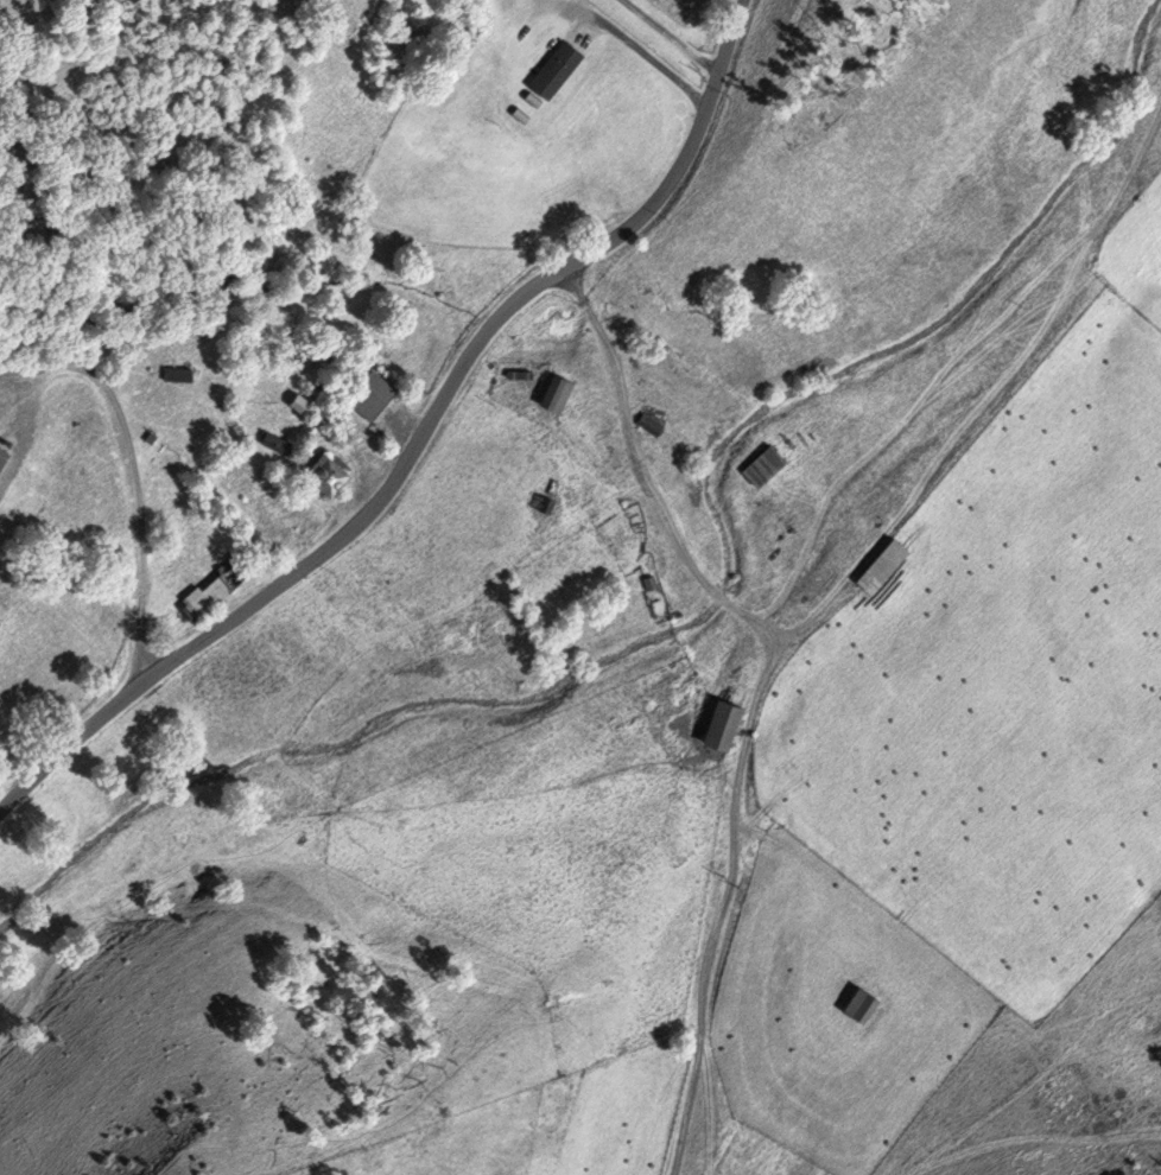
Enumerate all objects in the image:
road: (670, 36)
road: (635, 50)
building: (559, 70)
road: (680, 152)
building: (178, 376)
road: (19, 382)
building: (559, 394)
building: (372, 395)
building: (302, 405)
road: (983, 406)
building: (659, 417)
building: (330, 423)
road: (122, 431)
building: (280, 444)
building: (4, 457)
building: (2, 466)
building: (768, 468)
building: (330, 475)
building: (544, 504)
road: (304, 554)
building: (884, 567)
road: (753, 693)
building: (719, 725)
building: (862, 1004)

